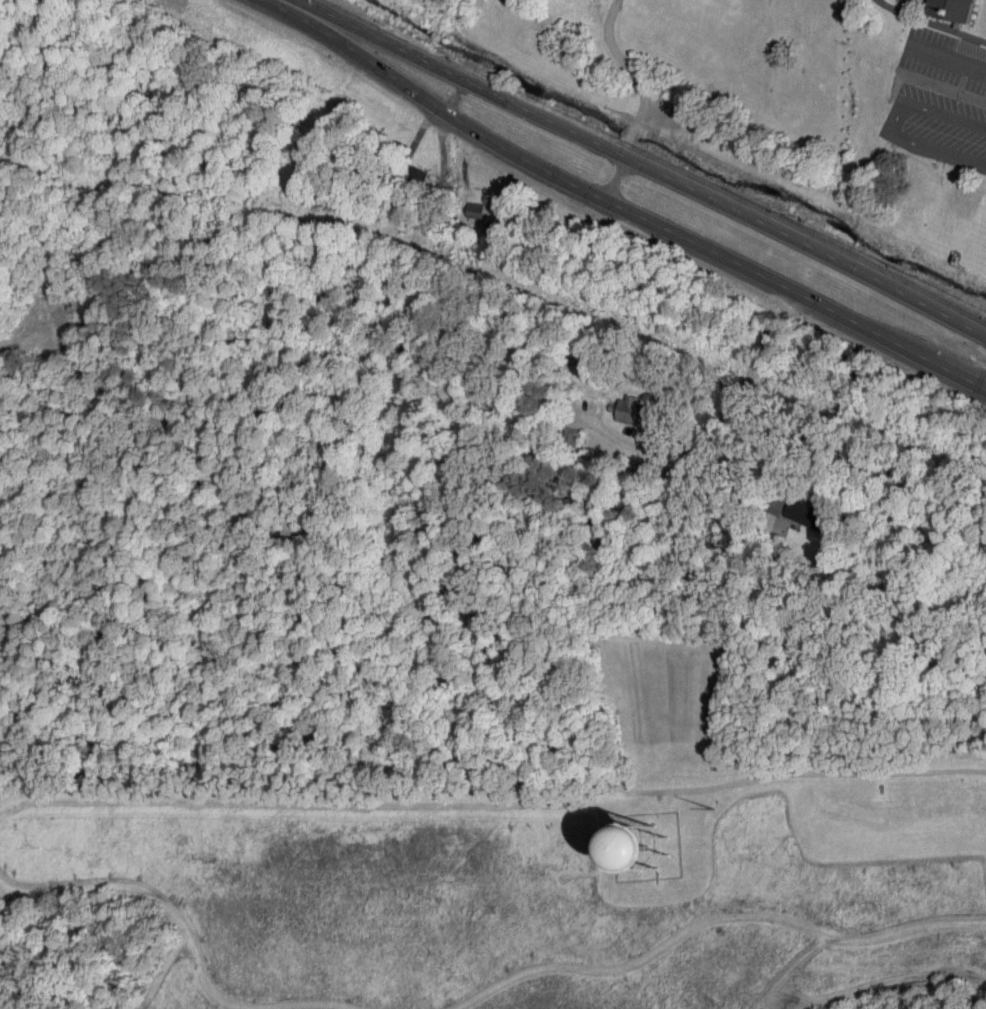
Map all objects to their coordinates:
building: (952, 9)
road: (930, 23)
road: (950, 58)
road: (634, 73)
road: (892, 123)
road: (644, 163)
road: (615, 177)
road: (624, 208)
building: (475, 210)
building: (631, 411)
road: (721, 422)
building: (570, 438)
road: (327, 464)
road: (718, 509)
building: (807, 513)
road: (783, 776)
road: (3, 794)
road: (289, 797)
building: (646, 848)
water tower: (650, 851)
road: (151, 885)
road: (708, 923)
road: (789, 970)
road: (887, 987)
road: (245, 1001)

